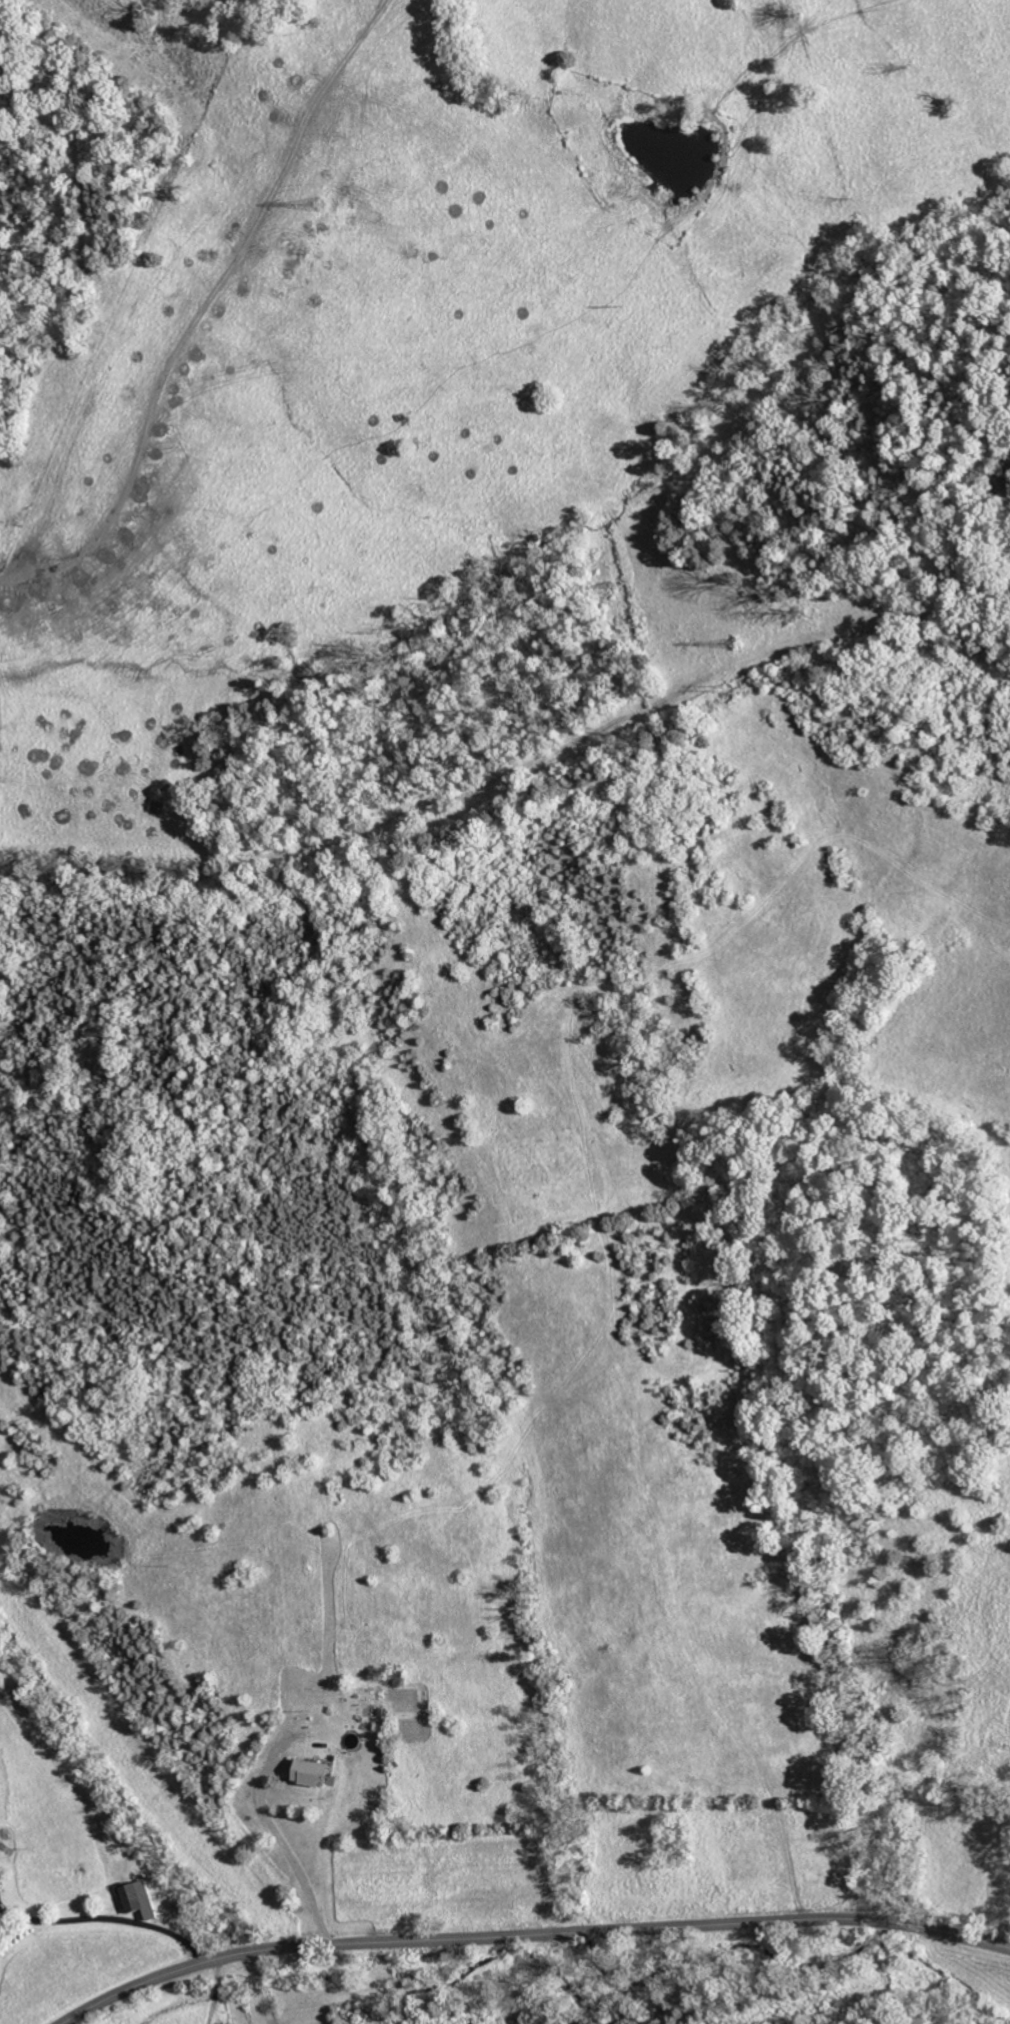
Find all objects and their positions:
building: (307, 1772)
road: (284, 1853)
building: (138, 1899)
road: (108, 1919)
road: (529, 1934)

